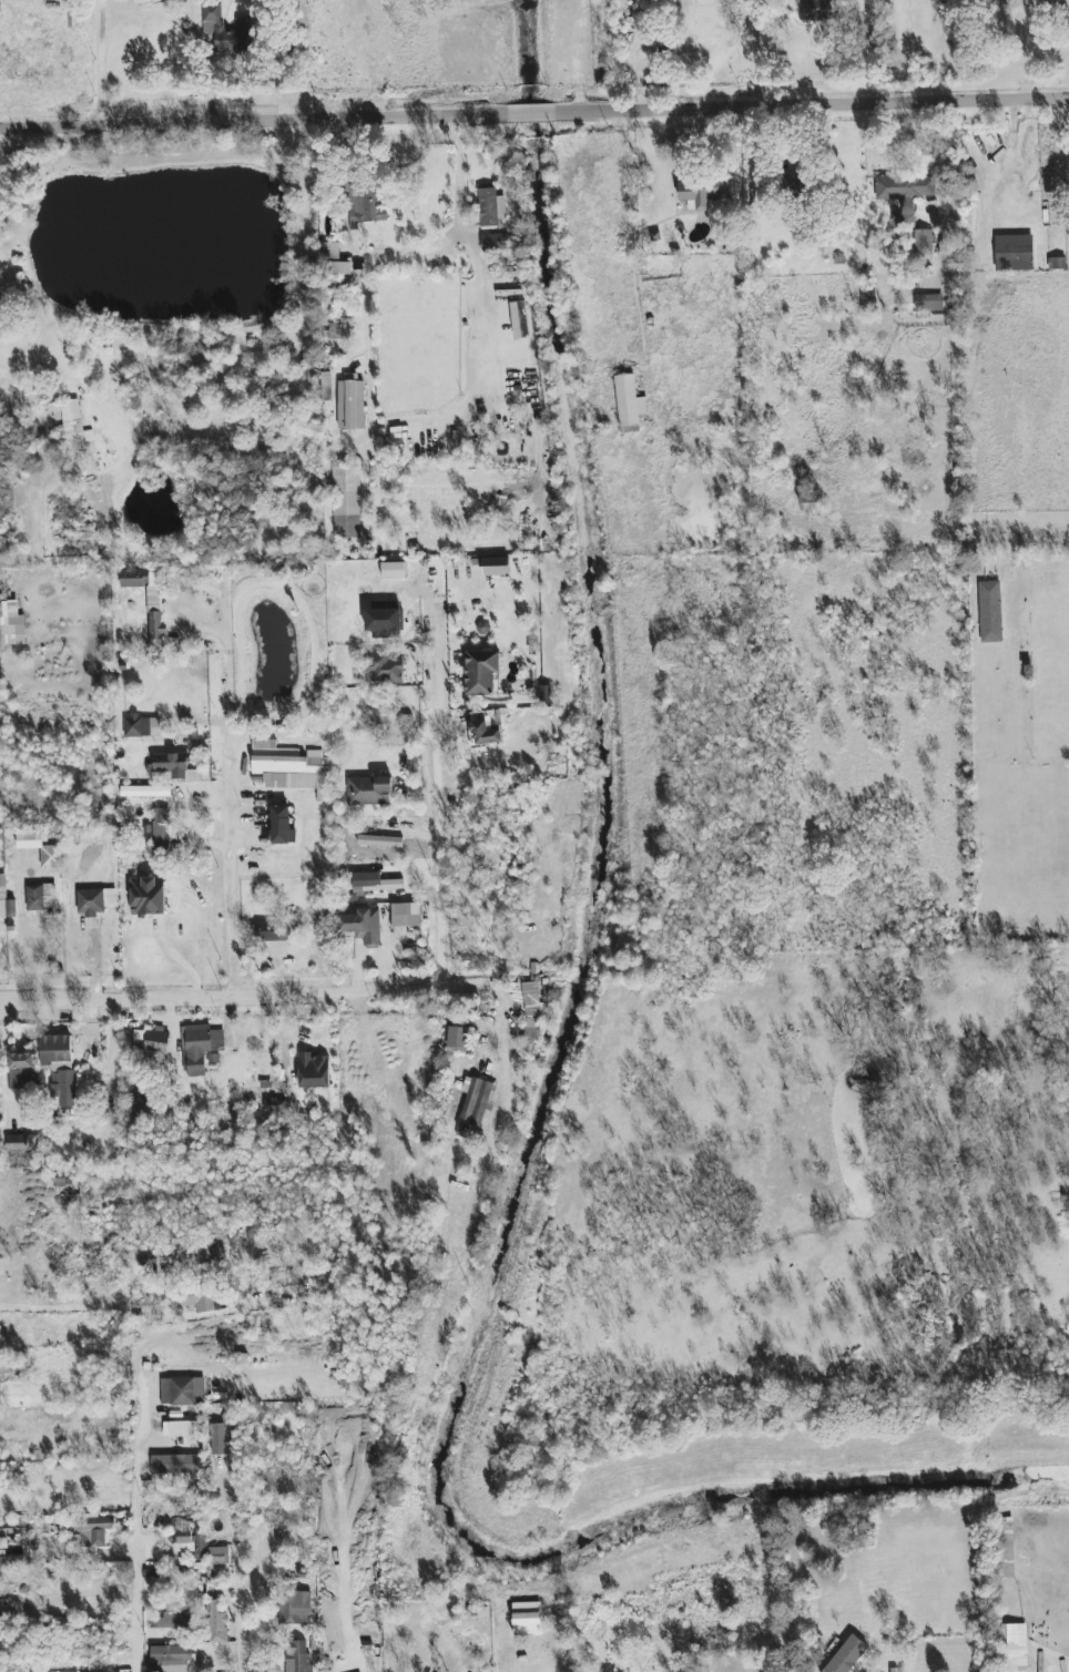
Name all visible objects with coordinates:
building: (818, 10)
building: (225, 32)
road: (754, 54)
road: (105, 61)
road: (814, 104)
road: (533, 111)
road: (253, 118)
building: (794, 181)
building: (905, 186)
building: (703, 193)
building: (367, 206)
building: (490, 207)
road: (457, 217)
building: (923, 242)
building: (496, 243)
road: (631, 253)
building: (1014, 253)
road: (480, 265)
building: (340, 268)
building: (928, 303)
building: (338, 330)
building: (324, 386)
building: (629, 401)
building: (352, 405)
building: (68, 416)
building: (810, 497)
building: (346, 502)
building: (495, 567)
building: (393, 570)
building: (149, 601)
building: (990, 611)
building: (11, 624)
building: (381, 667)
building: (481, 672)
building: (142, 726)
building: (485, 733)
building: (286, 765)
building: (145, 791)
building: (369, 791)
road: (226, 793)
road: (437, 797)
building: (281, 825)
building: (161, 828)
building: (30, 839)
building: (380, 842)
building: (51, 857)
building: (374, 881)
building: (147, 896)
building: (41, 897)
building: (6, 901)
building: (95, 901)
building: (407, 915)
building: (362, 926)
building: (272, 939)
road: (242, 993)
building: (536, 995)
road: (507, 1015)
building: (458, 1037)
building: (151, 1040)
building: (201, 1047)
road: (112, 1056)
building: (60, 1068)
building: (313, 1069)
building: (19, 1073)
building: (140, 1104)
building: (275, 1105)
building: (476, 1105)
building: (21, 1142)
building: (288, 1286)
building: (198, 1296)
road: (59, 1307)
building: (183, 1391)
building: (182, 1428)
road: (45, 1429)
building: (217, 1439)
building: (177, 1465)
building: (93, 1530)
road: (135, 1539)
building: (191, 1542)
building: (3, 1543)
building: (1007, 1548)
building: (218, 1556)
building: (4, 1559)
road: (238, 1574)
building: (193, 1595)
building: (295, 1609)
building: (528, 1614)
building: (173, 1620)
building: (217, 1621)
road: (255, 1631)
building: (1014, 1648)
building: (847, 1654)
building: (298, 1656)
building: (174, 1658)
road: (375, 1670)

